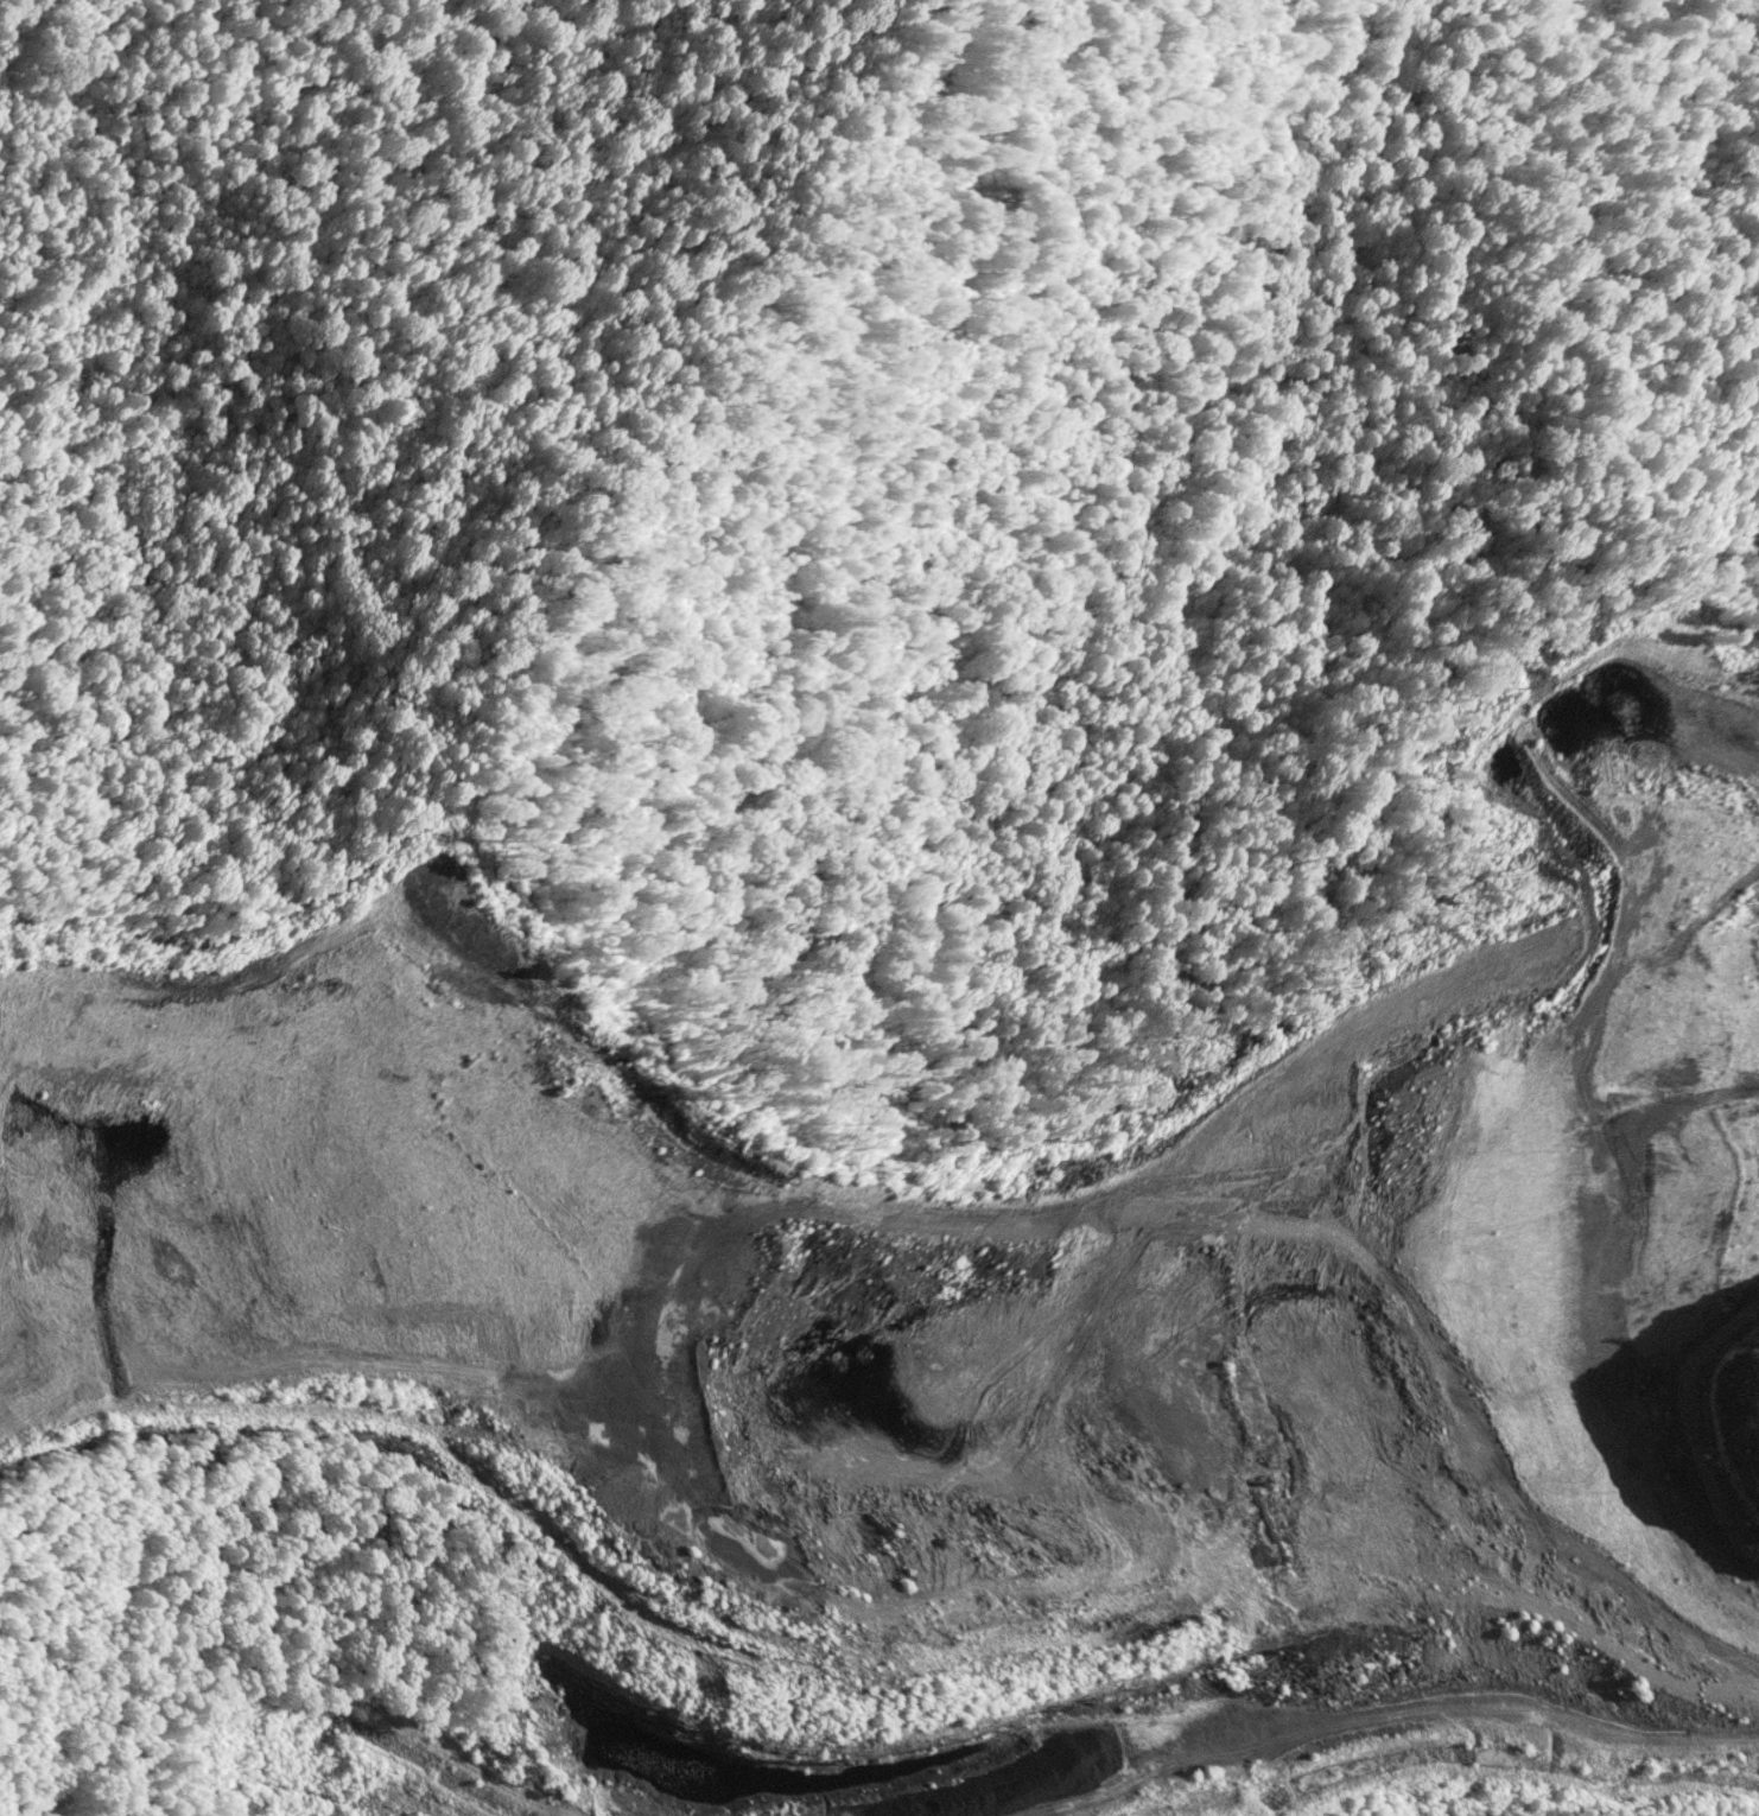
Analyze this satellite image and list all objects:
quarry: (1002, 1314)

